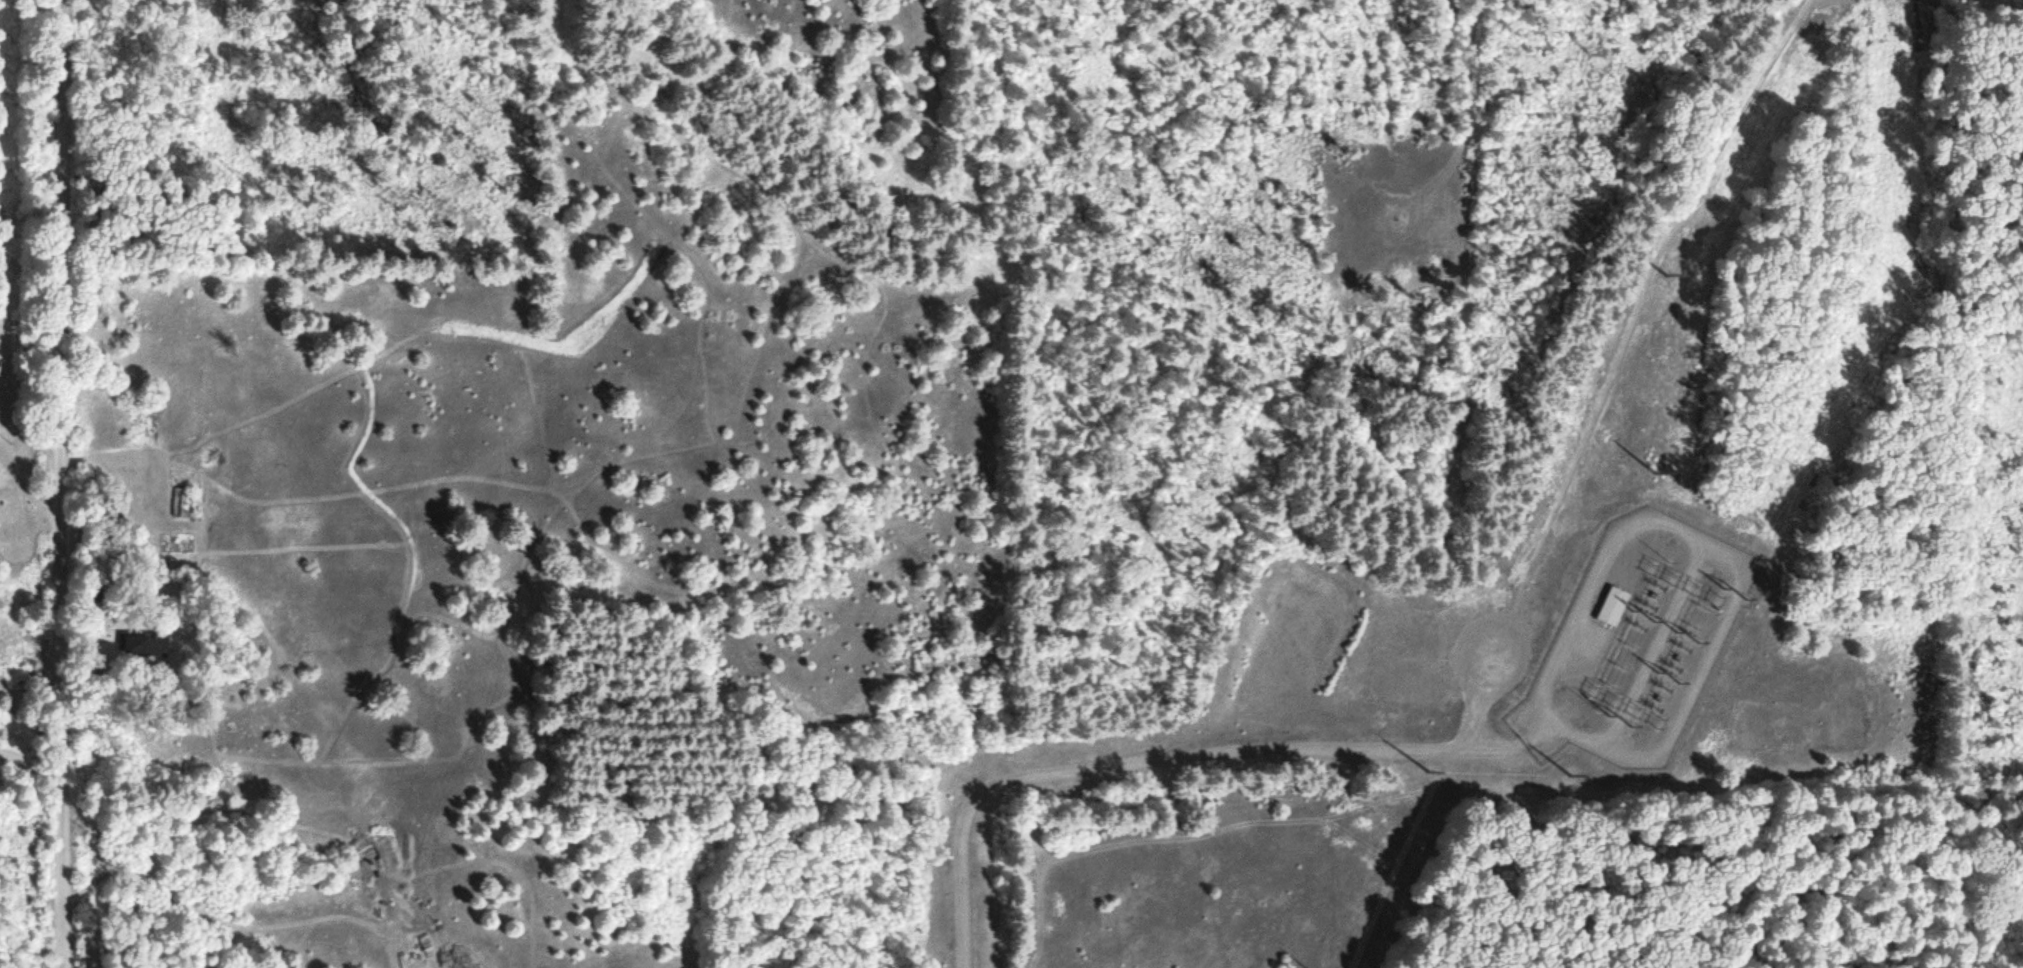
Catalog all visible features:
power tower: (1669, 272)
power tower: (1658, 471)
road: (76, 484)
building: (185, 502)
building: (115, 515)
building: (1612, 604)
power substation: (1639, 641)
building: (146, 643)
road: (1499, 747)
road: (1183, 756)
power tower: (1428, 772)
power tower: (1568, 774)

